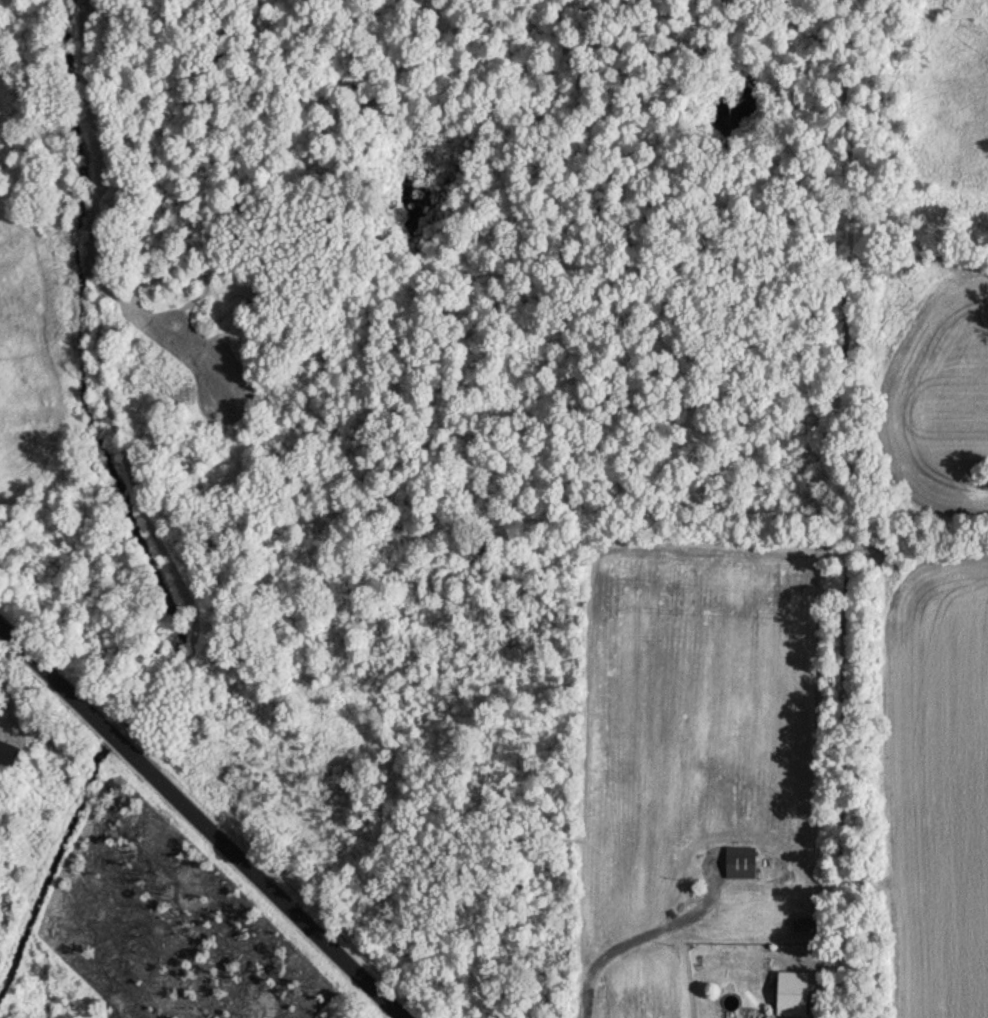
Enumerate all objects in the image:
road: (200, 824)
building: (742, 863)
road: (639, 939)

